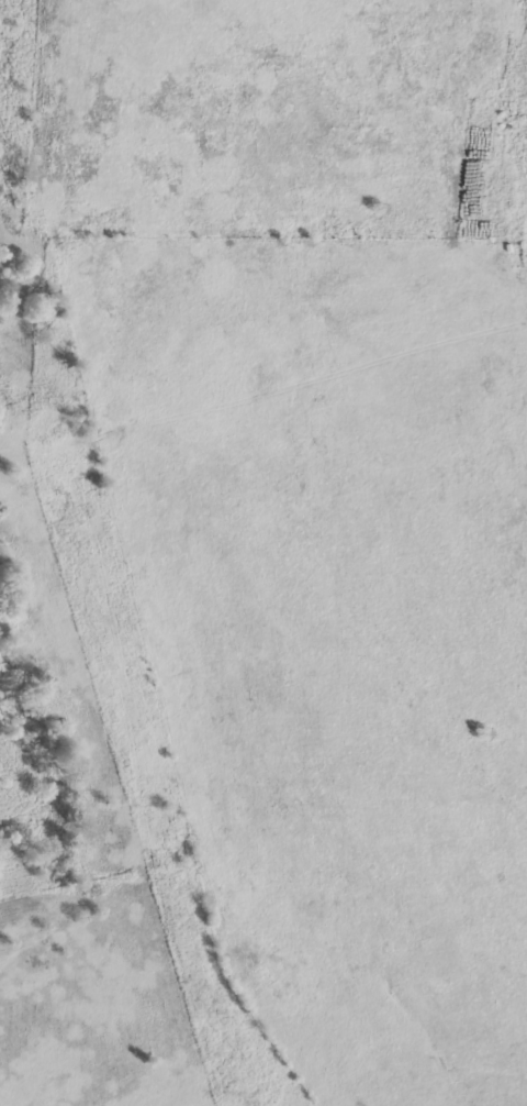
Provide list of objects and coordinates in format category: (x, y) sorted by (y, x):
road: (215, 327)
road: (363, 346)

